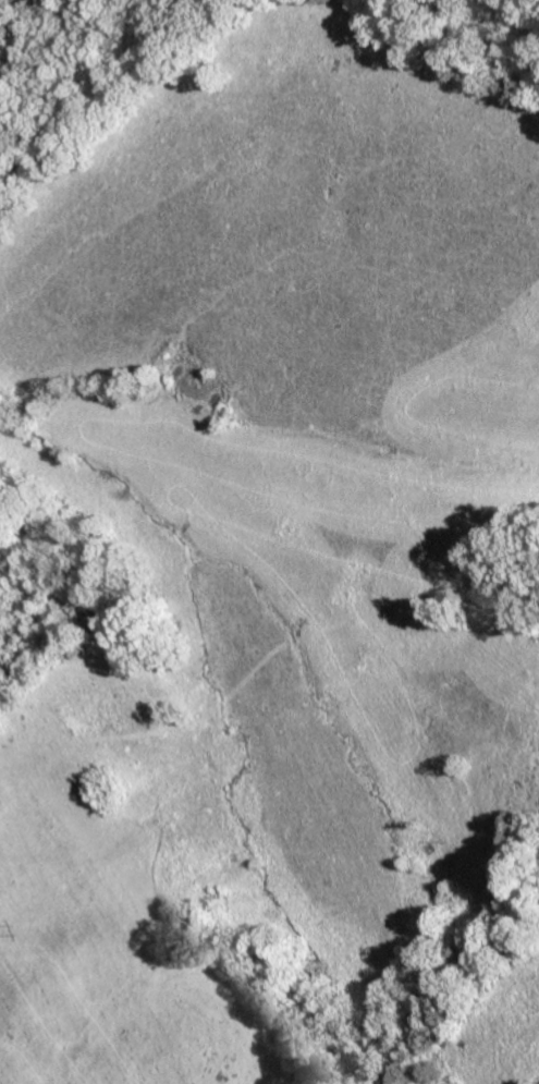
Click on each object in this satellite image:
building: (538, 1083)

